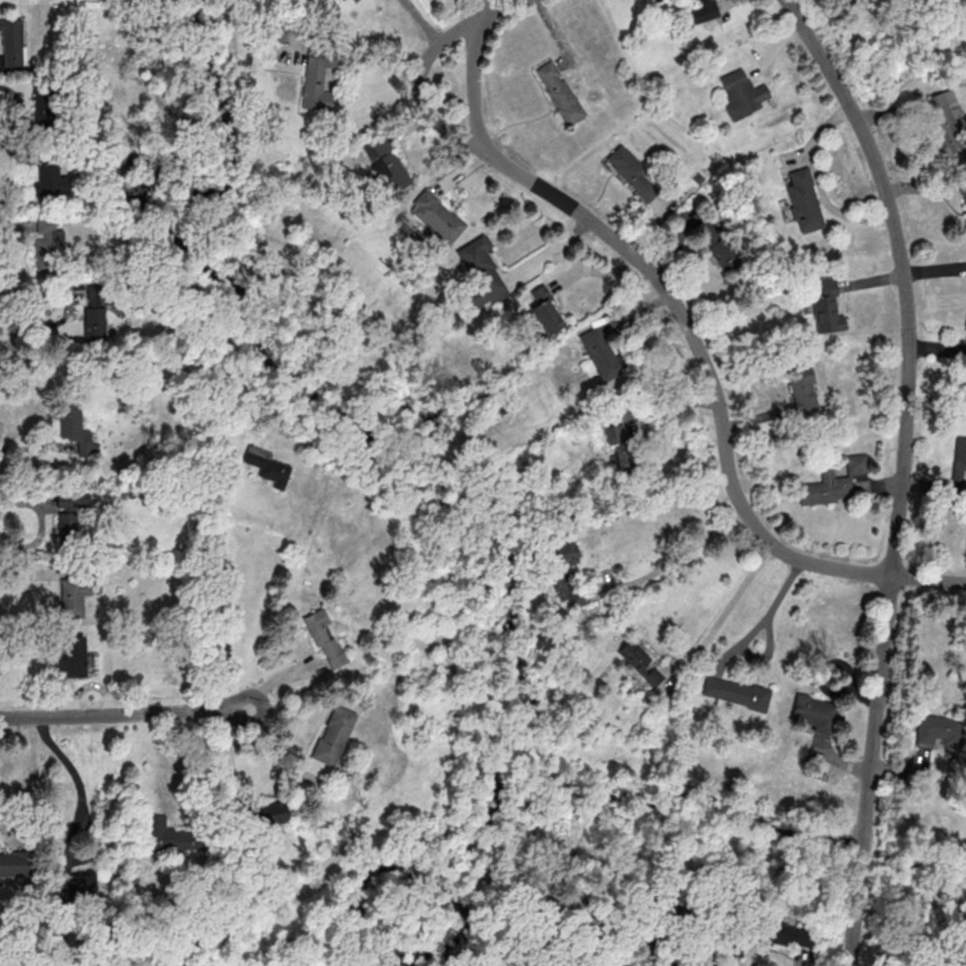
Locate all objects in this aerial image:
building: (705, 10)
building: (11, 42)
road: (357, 54)
building: (317, 83)
road: (421, 84)
building: (560, 92)
building: (741, 93)
building: (44, 105)
building: (946, 119)
building: (388, 163)
building: (634, 172)
building: (52, 178)
building: (964, 190)
building: (804, 200)
building: (438, 215)
building: (48, 246)
building: (482, 273)
building: (828, 305)
building: (545, 310)
building: (94, 323)
road: (685, 327)
building: (601, 353)
building: (803, 389)
building: (72, 420)
building: (623, 446)
building: (267, 466)
building: (958, 467)
road: (904, 470)
building: (833, 483)
building: (69, 520)
road: (41, 523)
building: (565, 553)
road: (680, 558)
road: (224, 589)
building: (74, 595)
road: (729, 612)
road: (750, 632)
building: (325, 639)
building: (73, 656)
building: (641, 661)
building: (736, 692)
road: (127, 712)
building: (816, 714)
building: (938, 728)
building: (332, 740)
road: (228, 763)
road: (34, 780)
river: (550, 780)
road: (83, 794)
building: (272, 814)
building: (170, 828)
river: (864, 848)
building: (16, 866)
river: (923, 881)
building: (81, 883)
building: (785, 934)
building: (921, 938)
road: (642, 948)

